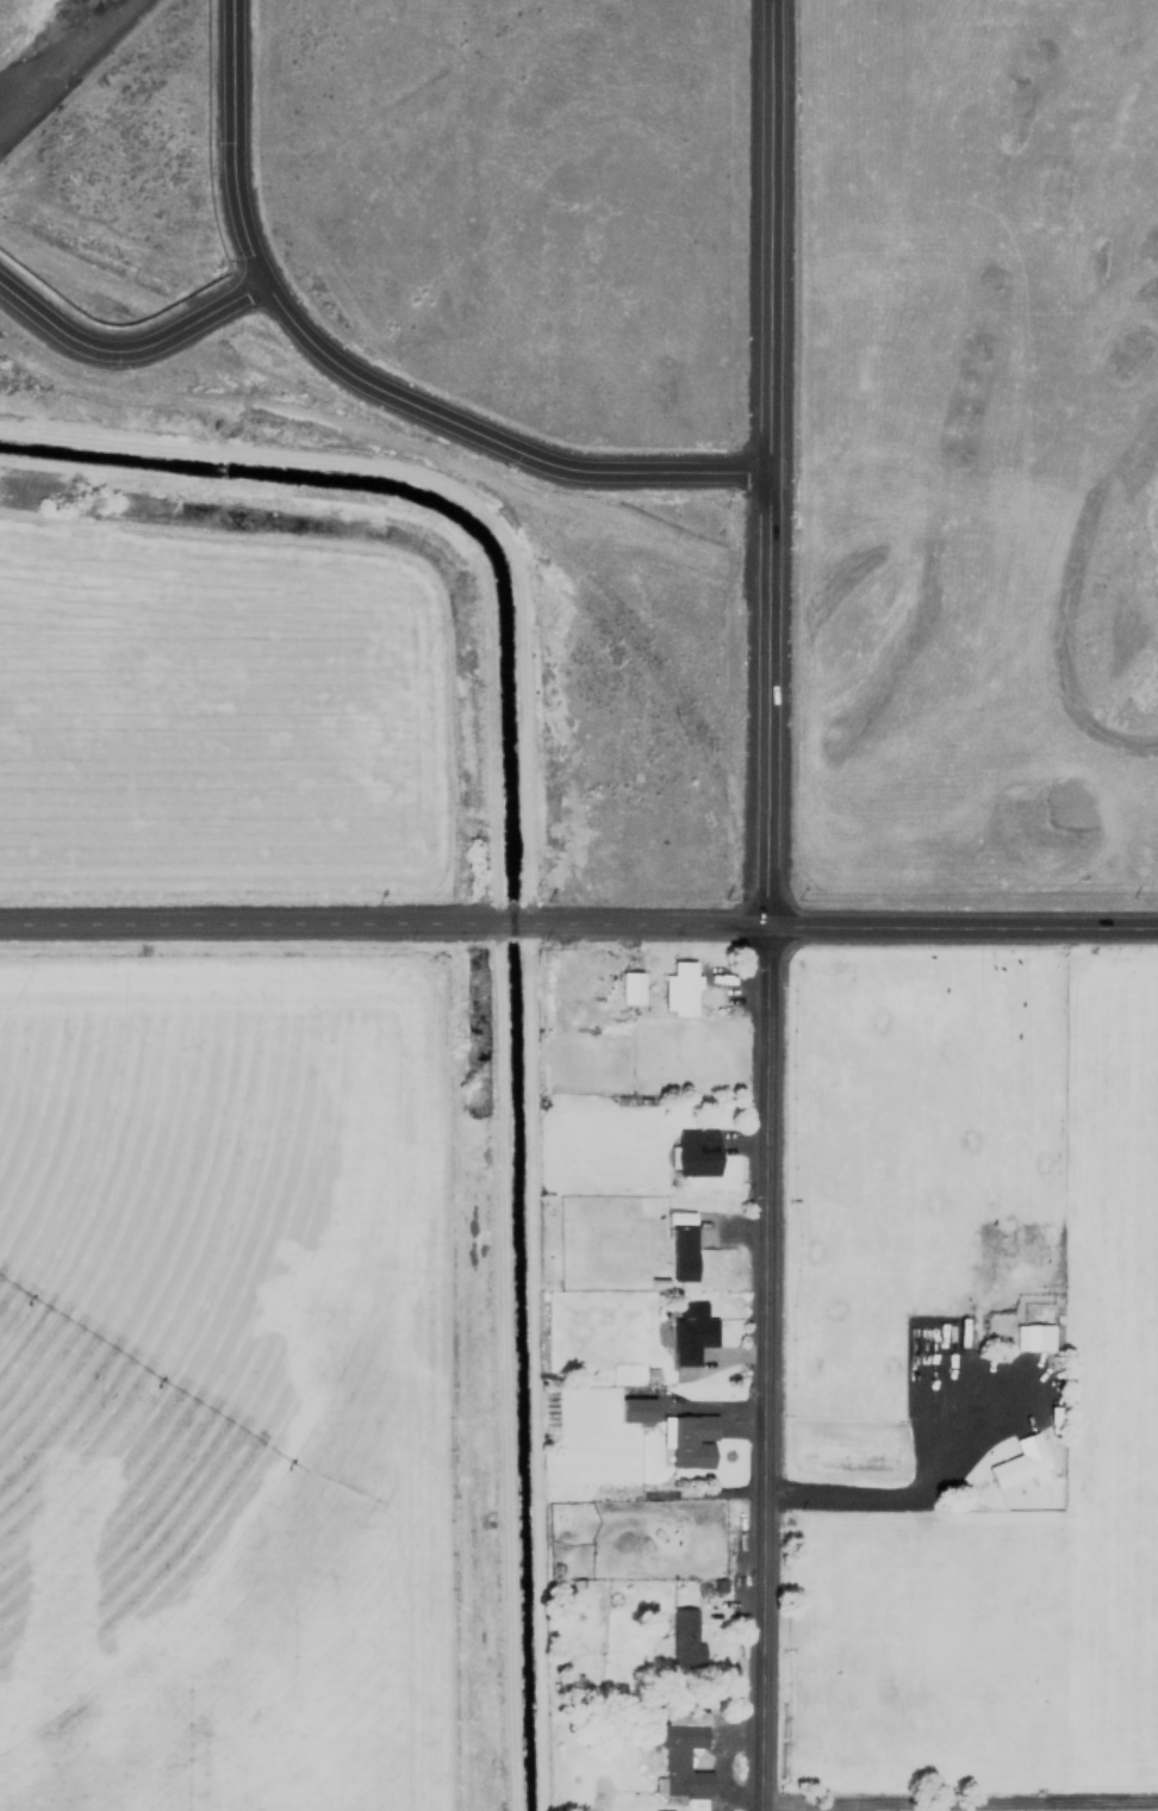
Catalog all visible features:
road: (360, 379)
road: (770, 463)
road: (579, 923)
building: (549, 969)
building: (680, 985)
building: (629, 987)
building: (693, 1151)
building: (679, 1216)
building: (681, 1252)
building: (690, 1331)
building: (1033, 1337)
road: (535, 1367)
road: (764, 1370)
building: (634, 1408)
building: (687, 1439)
road: (973, 1456)
building: (1011, 1468)
building: (684, 1637)
building: (679, 1755)
building: (666, 1810)

